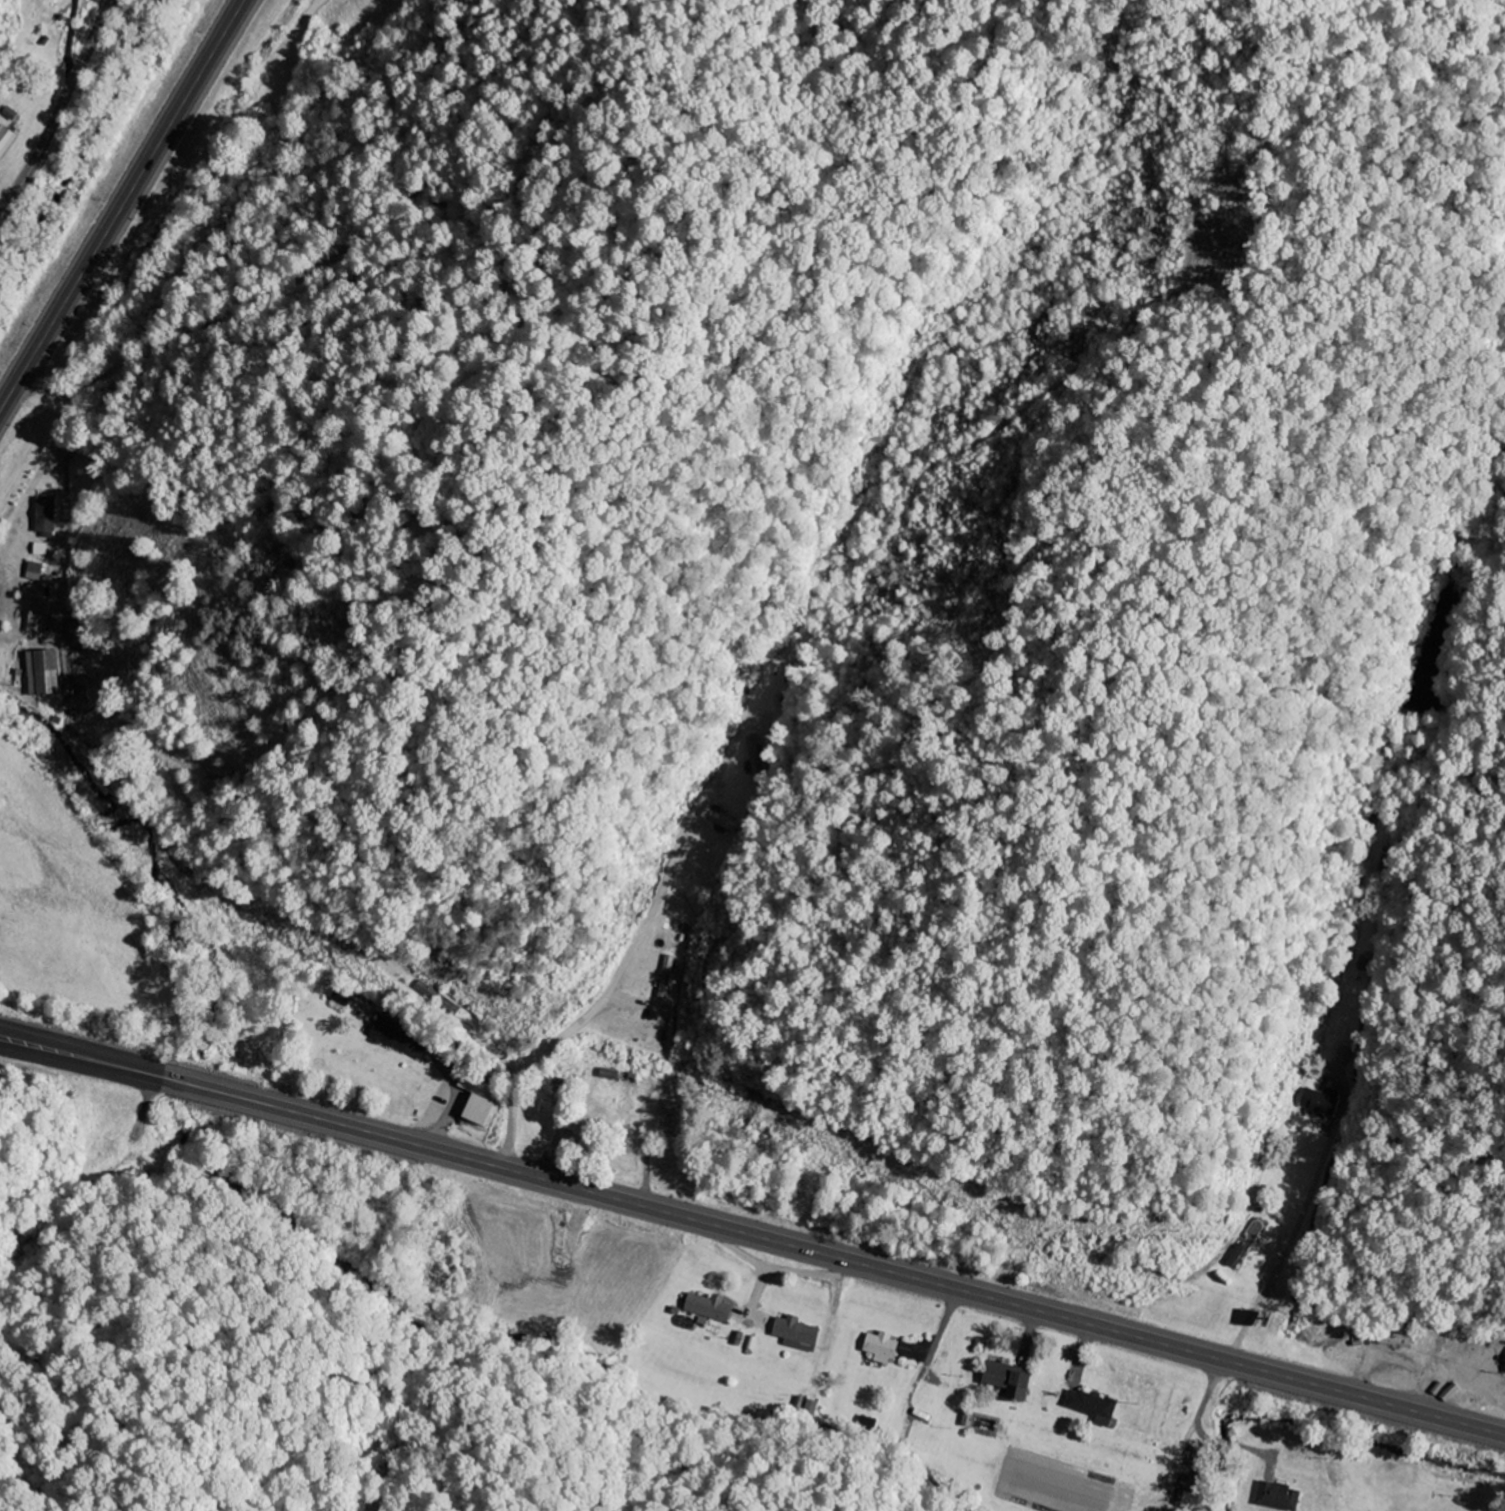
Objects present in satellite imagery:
road: (59, 110)
building: (5, 141)
road: (122, 206)
building: (44, 517)
building: (33, 572)
building: (38, 616)
building: (40, 674)
building: (750, 758)
building: (715, 819)
building: (663, 978)
building: (398, 1040)
road: (31, 1041)
building: (1342, 1057)
building: (475, 1088)
building: (1318, 1103)
building: (475, 1112)
road: (752, 1234)
building: (705, 1308)
building: (794, 1335)
building: (883, 1349)
building: (1004, 1382)
building: (1091, 1408)
building: (1275, 1497)

